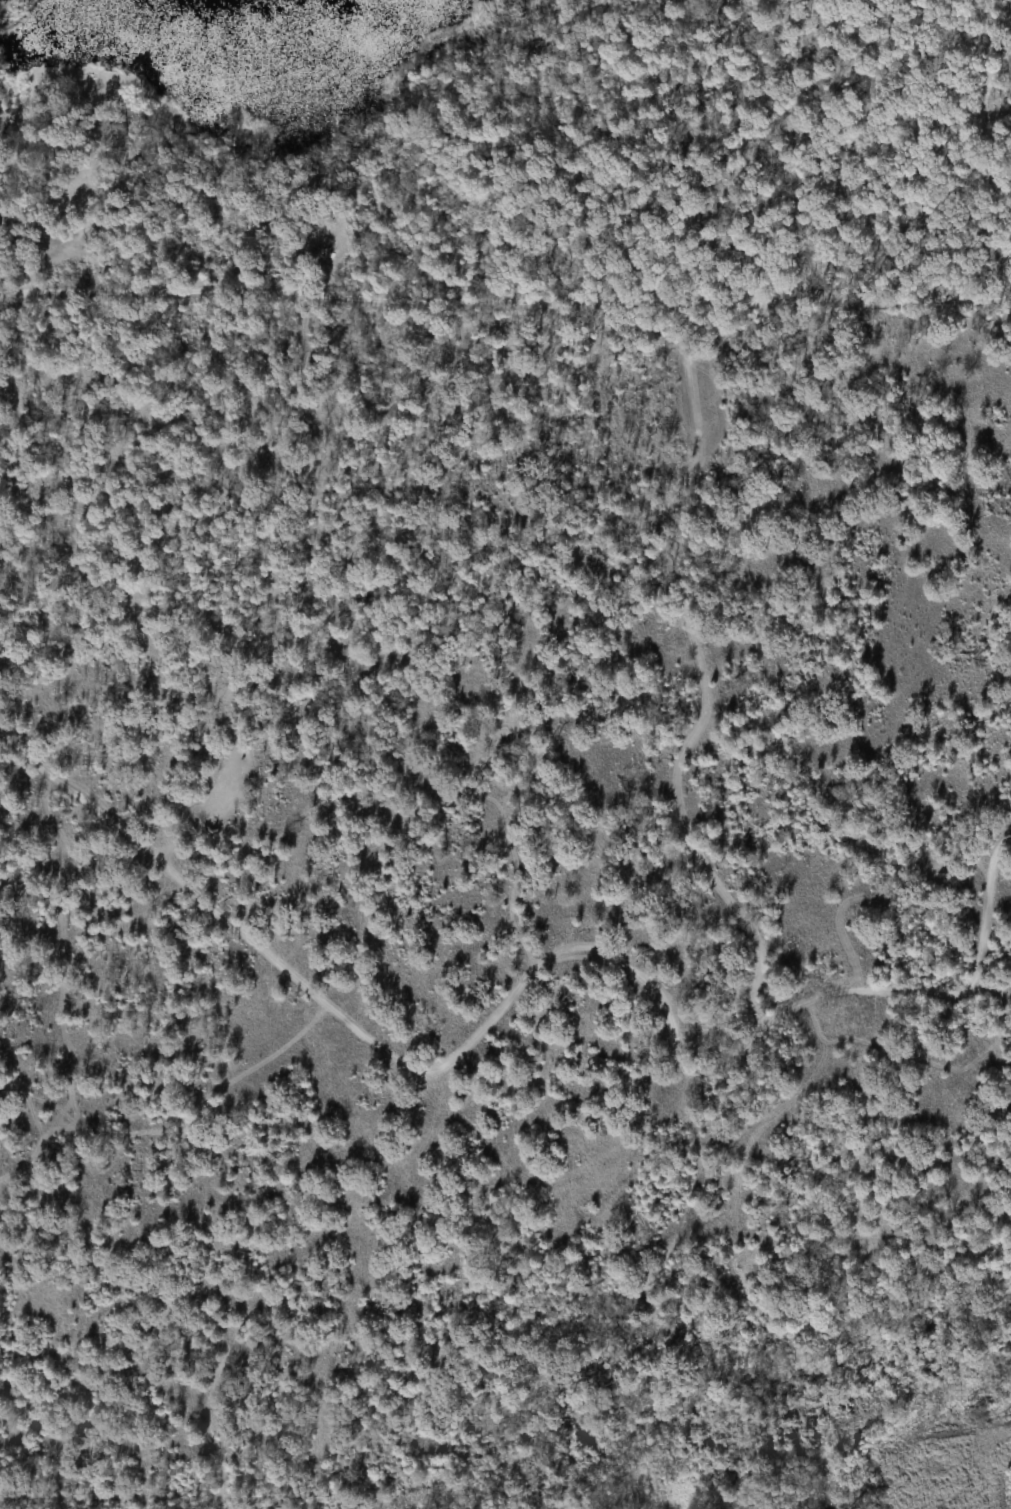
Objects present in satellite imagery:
road: (33, 293)

